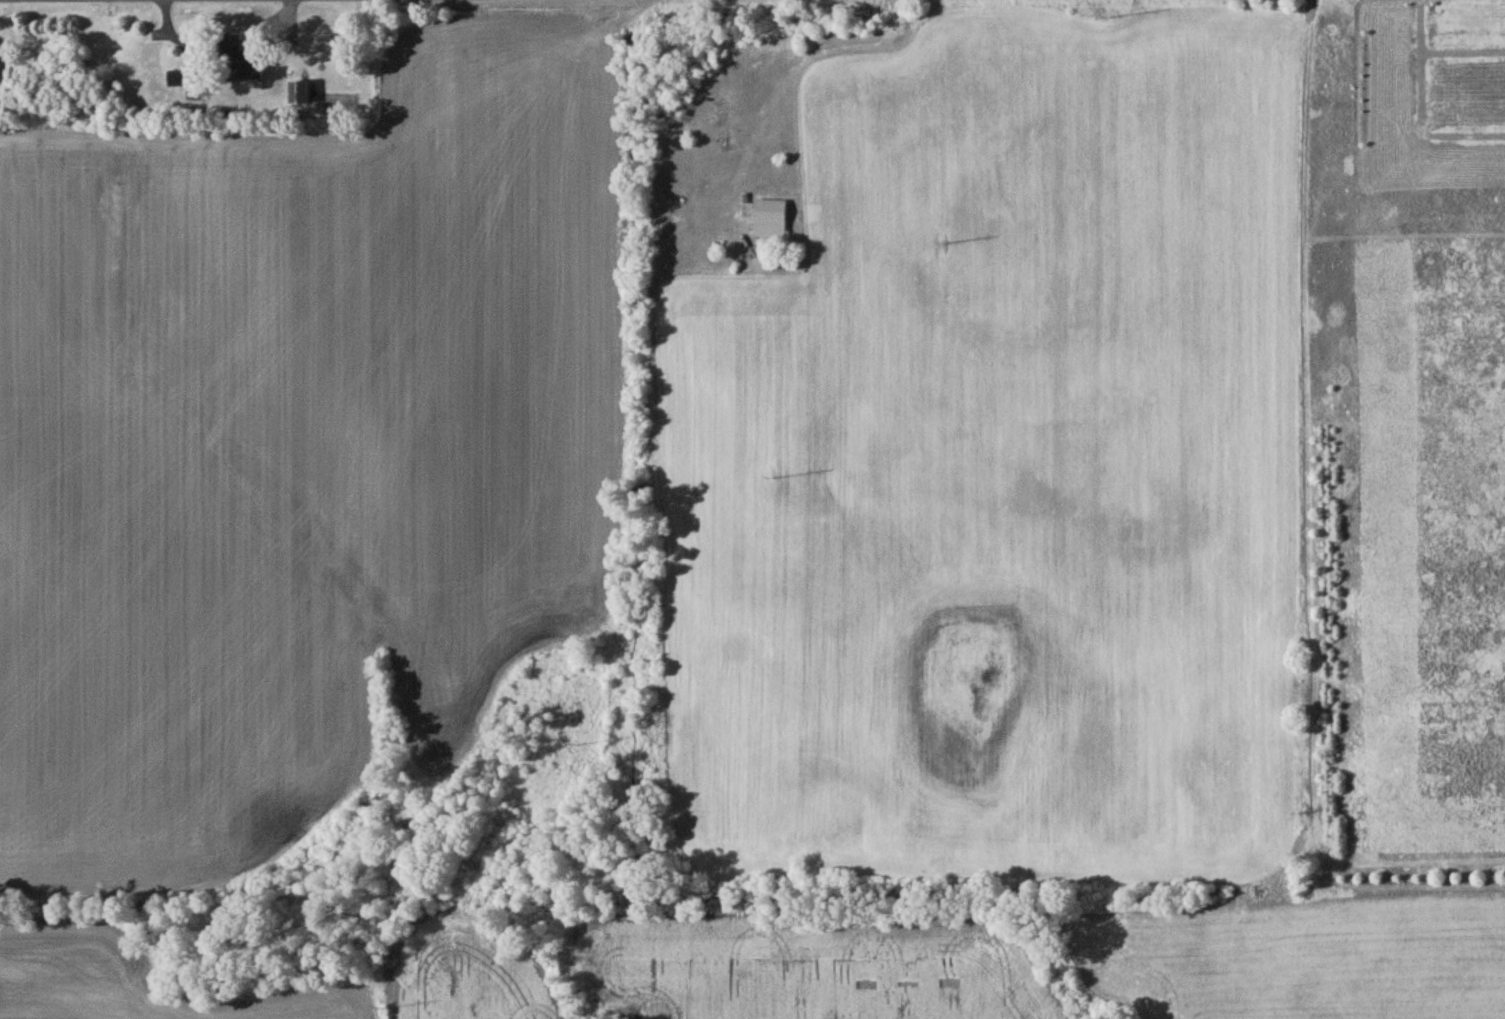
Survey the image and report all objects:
road: (1463, 49)
building: (253, 64)
building: (188, 85)
building: (299, 95)
road: (1421, 105)
building: (724, 127)
building: (771, 222)

